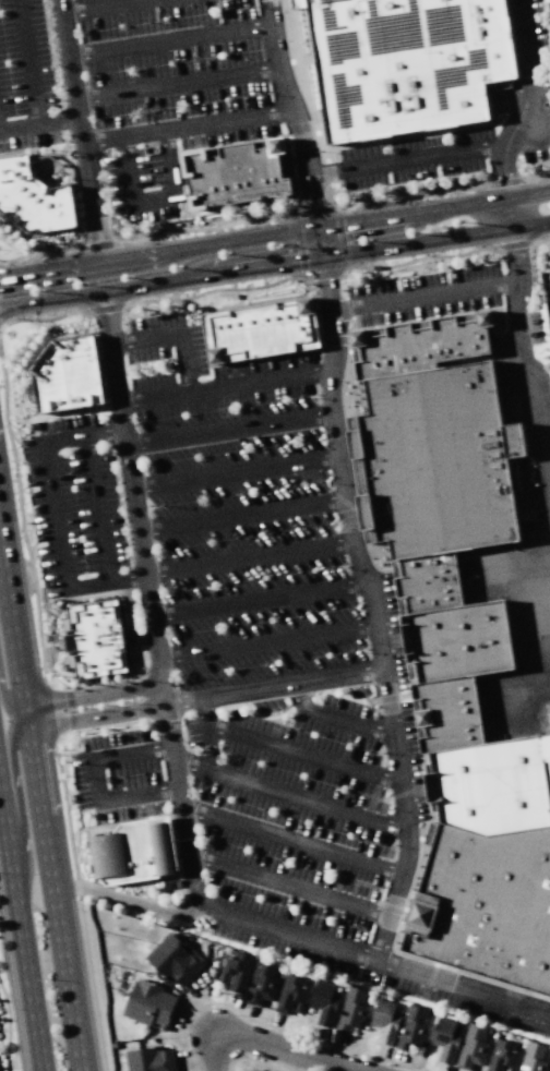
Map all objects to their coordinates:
road: (99, 5)
road: (170, 44)
road: (31, 62)
building: (404, 63)
road: (178, 84)
parking lot: (132, 85)
road: (529, 101)
road: (38, 125)
road: (190, 130)
road: (80, 131)
road: (411, 161)
building: (242, 176)
road: (507, 198)
building: (36, 201)
road: (156, 207)
road: (394, 217)
traffic signals: (321, 229)
road: (254, 239)
road: (437, 240)
traffic signals: (325, 258)
road: (93, 263)
road: (252, 268)
road: (89, 294)
parking lot: (422, 298)
road: (428, 298)
parking lot: (536, 328)
building: (262, 332)
road: (176, 336)
building: (427, 346)
road: (525, 360)
building: (69, 376)
road: (228, 385)
road: (232, 430)
building: (439, 461)
road: (238, 473)
road: (343, 480)
building: (521, 486)
road: (98, 509)
road: (56, 515)
road: (243, 515)
road: (252, 559)
road: (524, 575)
road: (263, 602)
building: (98, 639)
parking lot: (244, 643)
road: (270, 643)
road: (275, 684)
road: (530, 694)
road: (335, 719)
road: (58, 720)
road: (208, 732)
road: (304, 755)
road: (96, 779)
road: (178, 780)
building: (474, 791)
road: (290, 794)
road: (40, 814)
road: (292, 843)
building: (136, 853)
road: (289, 886)
road: (125, 901)
road: (81, 911)
road: (21, 928)
building: (174, 959)
building: (227, 972)
building: (262, 983)
building: (298, 994)
building: (323, 1002)
building: (148, 1004)
building: (351, 1009)
building: (384, 1021)
road: (9, 1027)
road: (280, 1028)
building: (411, 1028)
building: (489, 1031)
building: (445, 1038)
building: (471, 1047)
road: (288, 1050)
road: (214, 1055)
building: (501, 1056)
building: (533, 1057)
building: (150, 1059)
road: (193, 1060)
road: (255, 1060)
building: (521, 1070)

